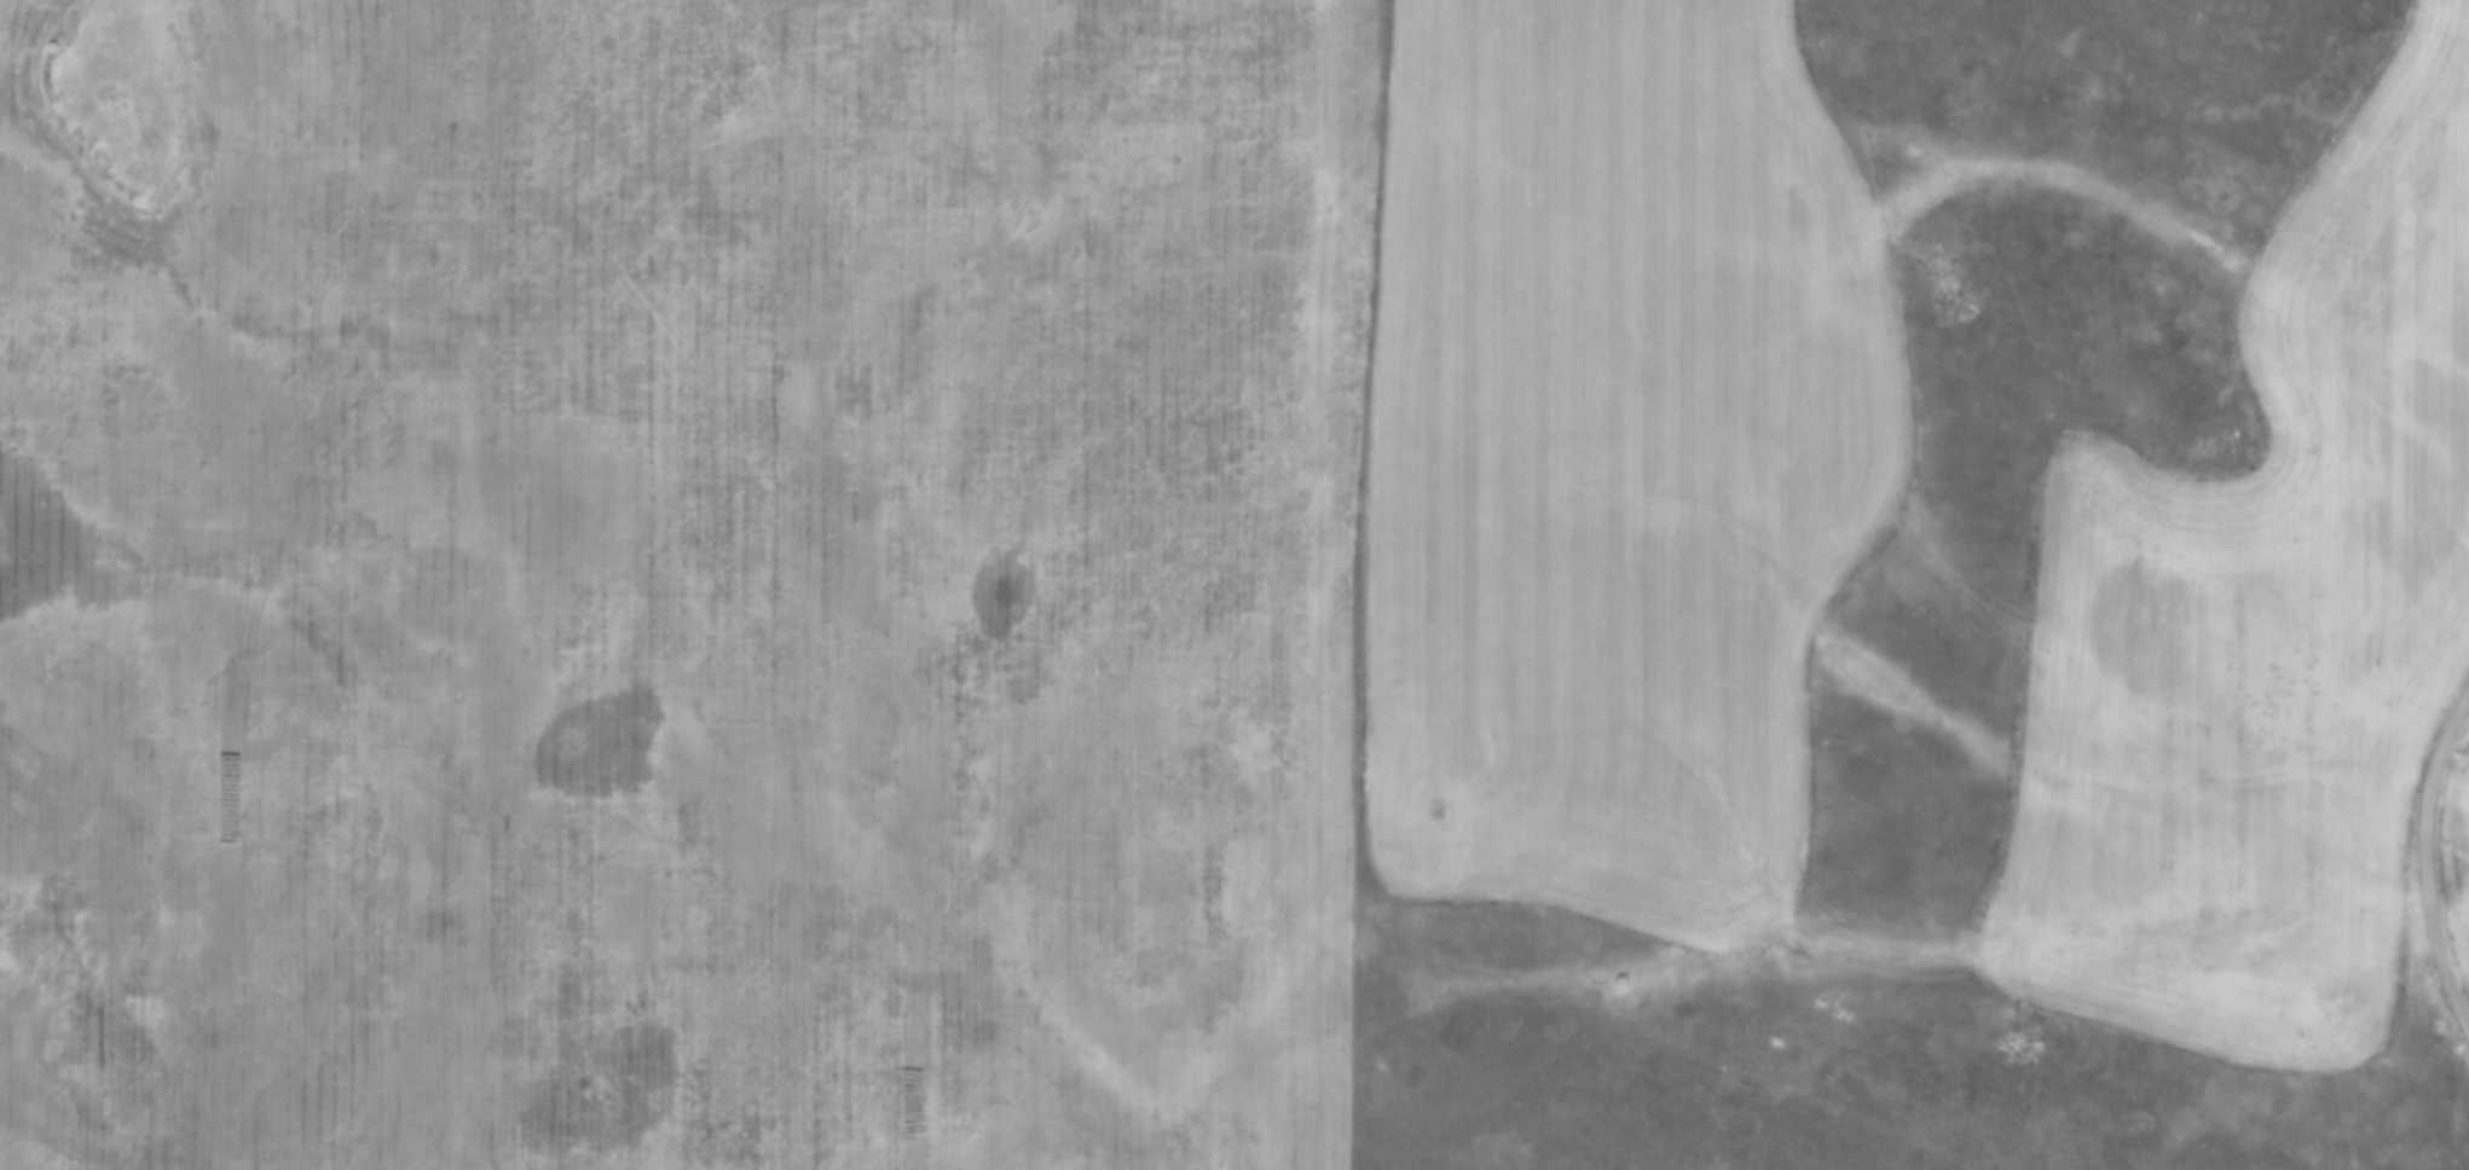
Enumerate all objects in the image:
road: (2432, 857)

